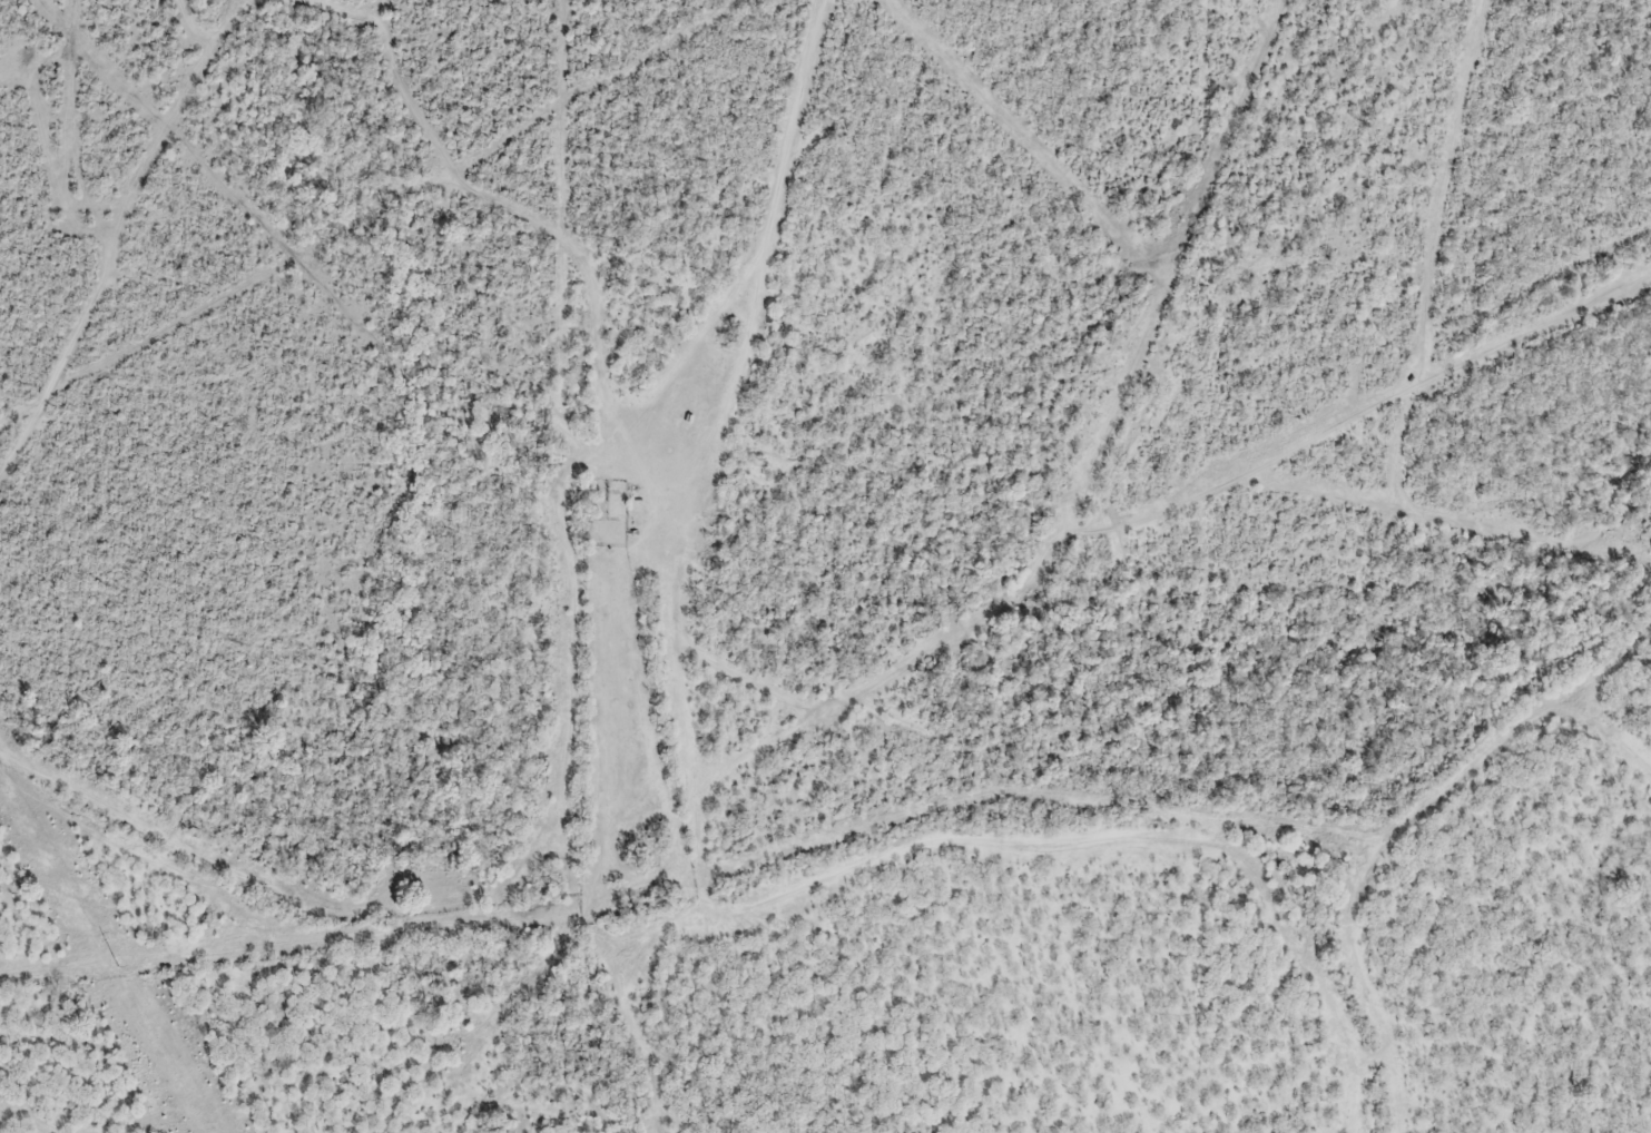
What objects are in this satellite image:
power tower: (112, 962)

